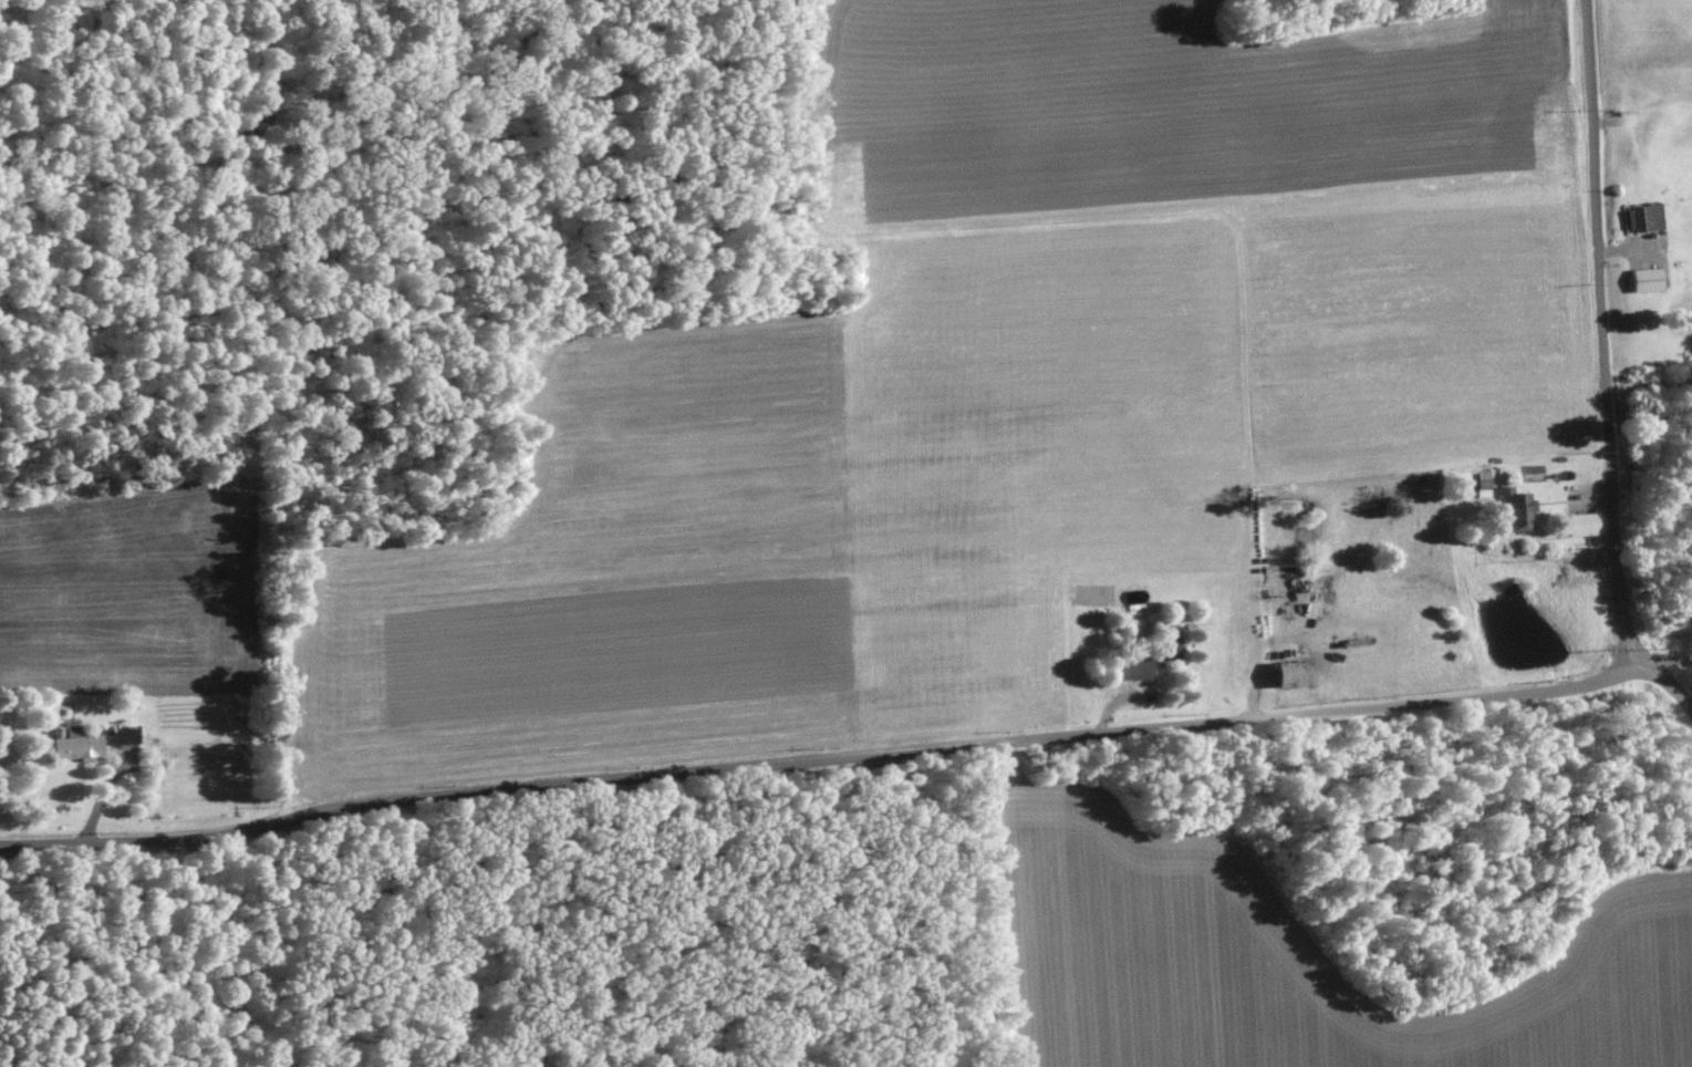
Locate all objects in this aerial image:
building: (1638, 216)
building: (1640, 278)
road: (1606, 336)
building: (1577, 522)
road: (1669, 659)
building: (1128, 666)
building: (1285, 672)
building: (118, 733)
building: (73, 746)
road: (857, 753)

